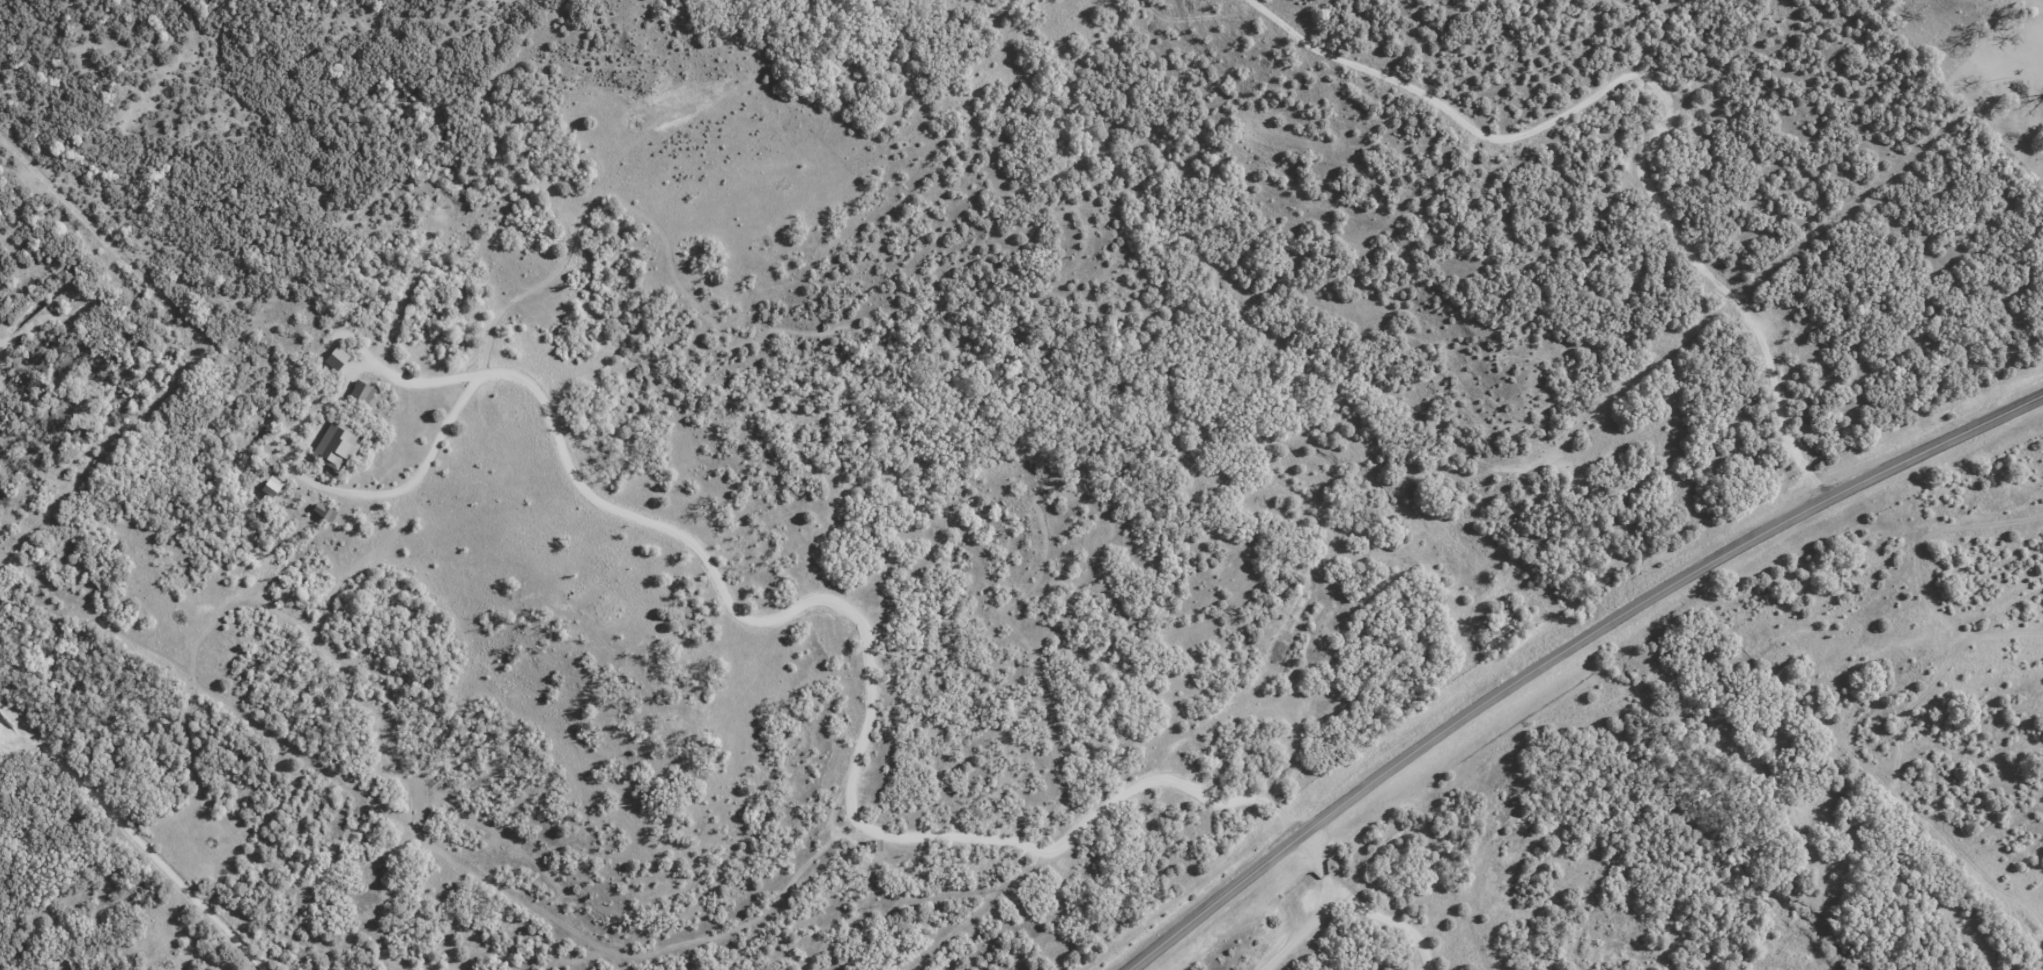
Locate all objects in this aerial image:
road: (1972, 27)
building: (334, 359)
building: (359, 393)
building: (333, 447)
building: (321, 512)
road: (1568, 647)
building: (874, 847)
road: (1439, 871)

